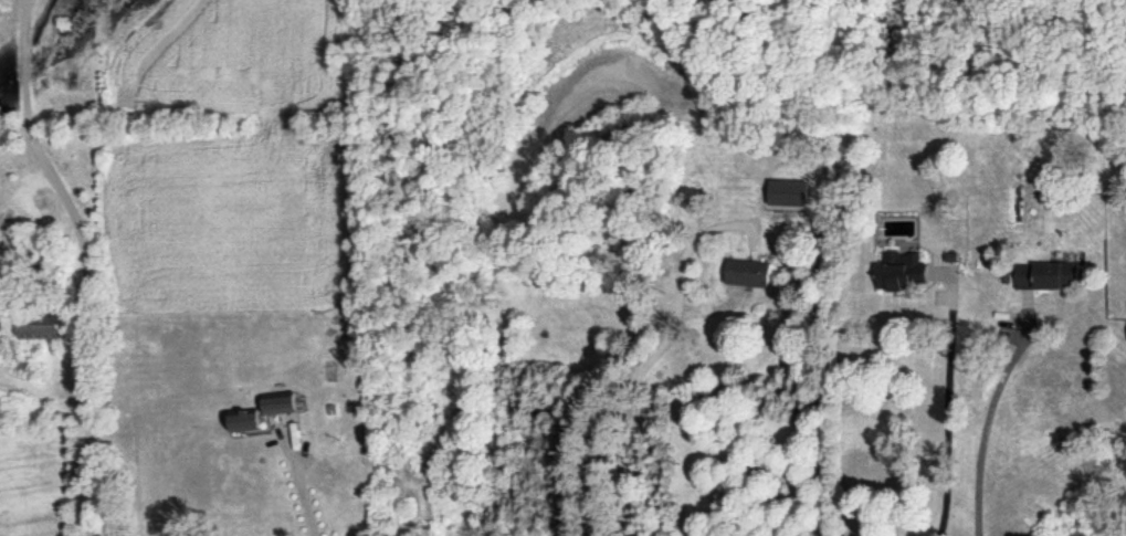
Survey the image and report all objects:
building: (789, 192)
road: (91, 260)
building: (902, 271)
building: (749, 272)
building: (1049, 274)
building: (43, 325)
road: (650, 361)
building: (281, 402)
road: (943, 403)
building: (245, 419)
road: (978, 433)
road: (302, 484)

